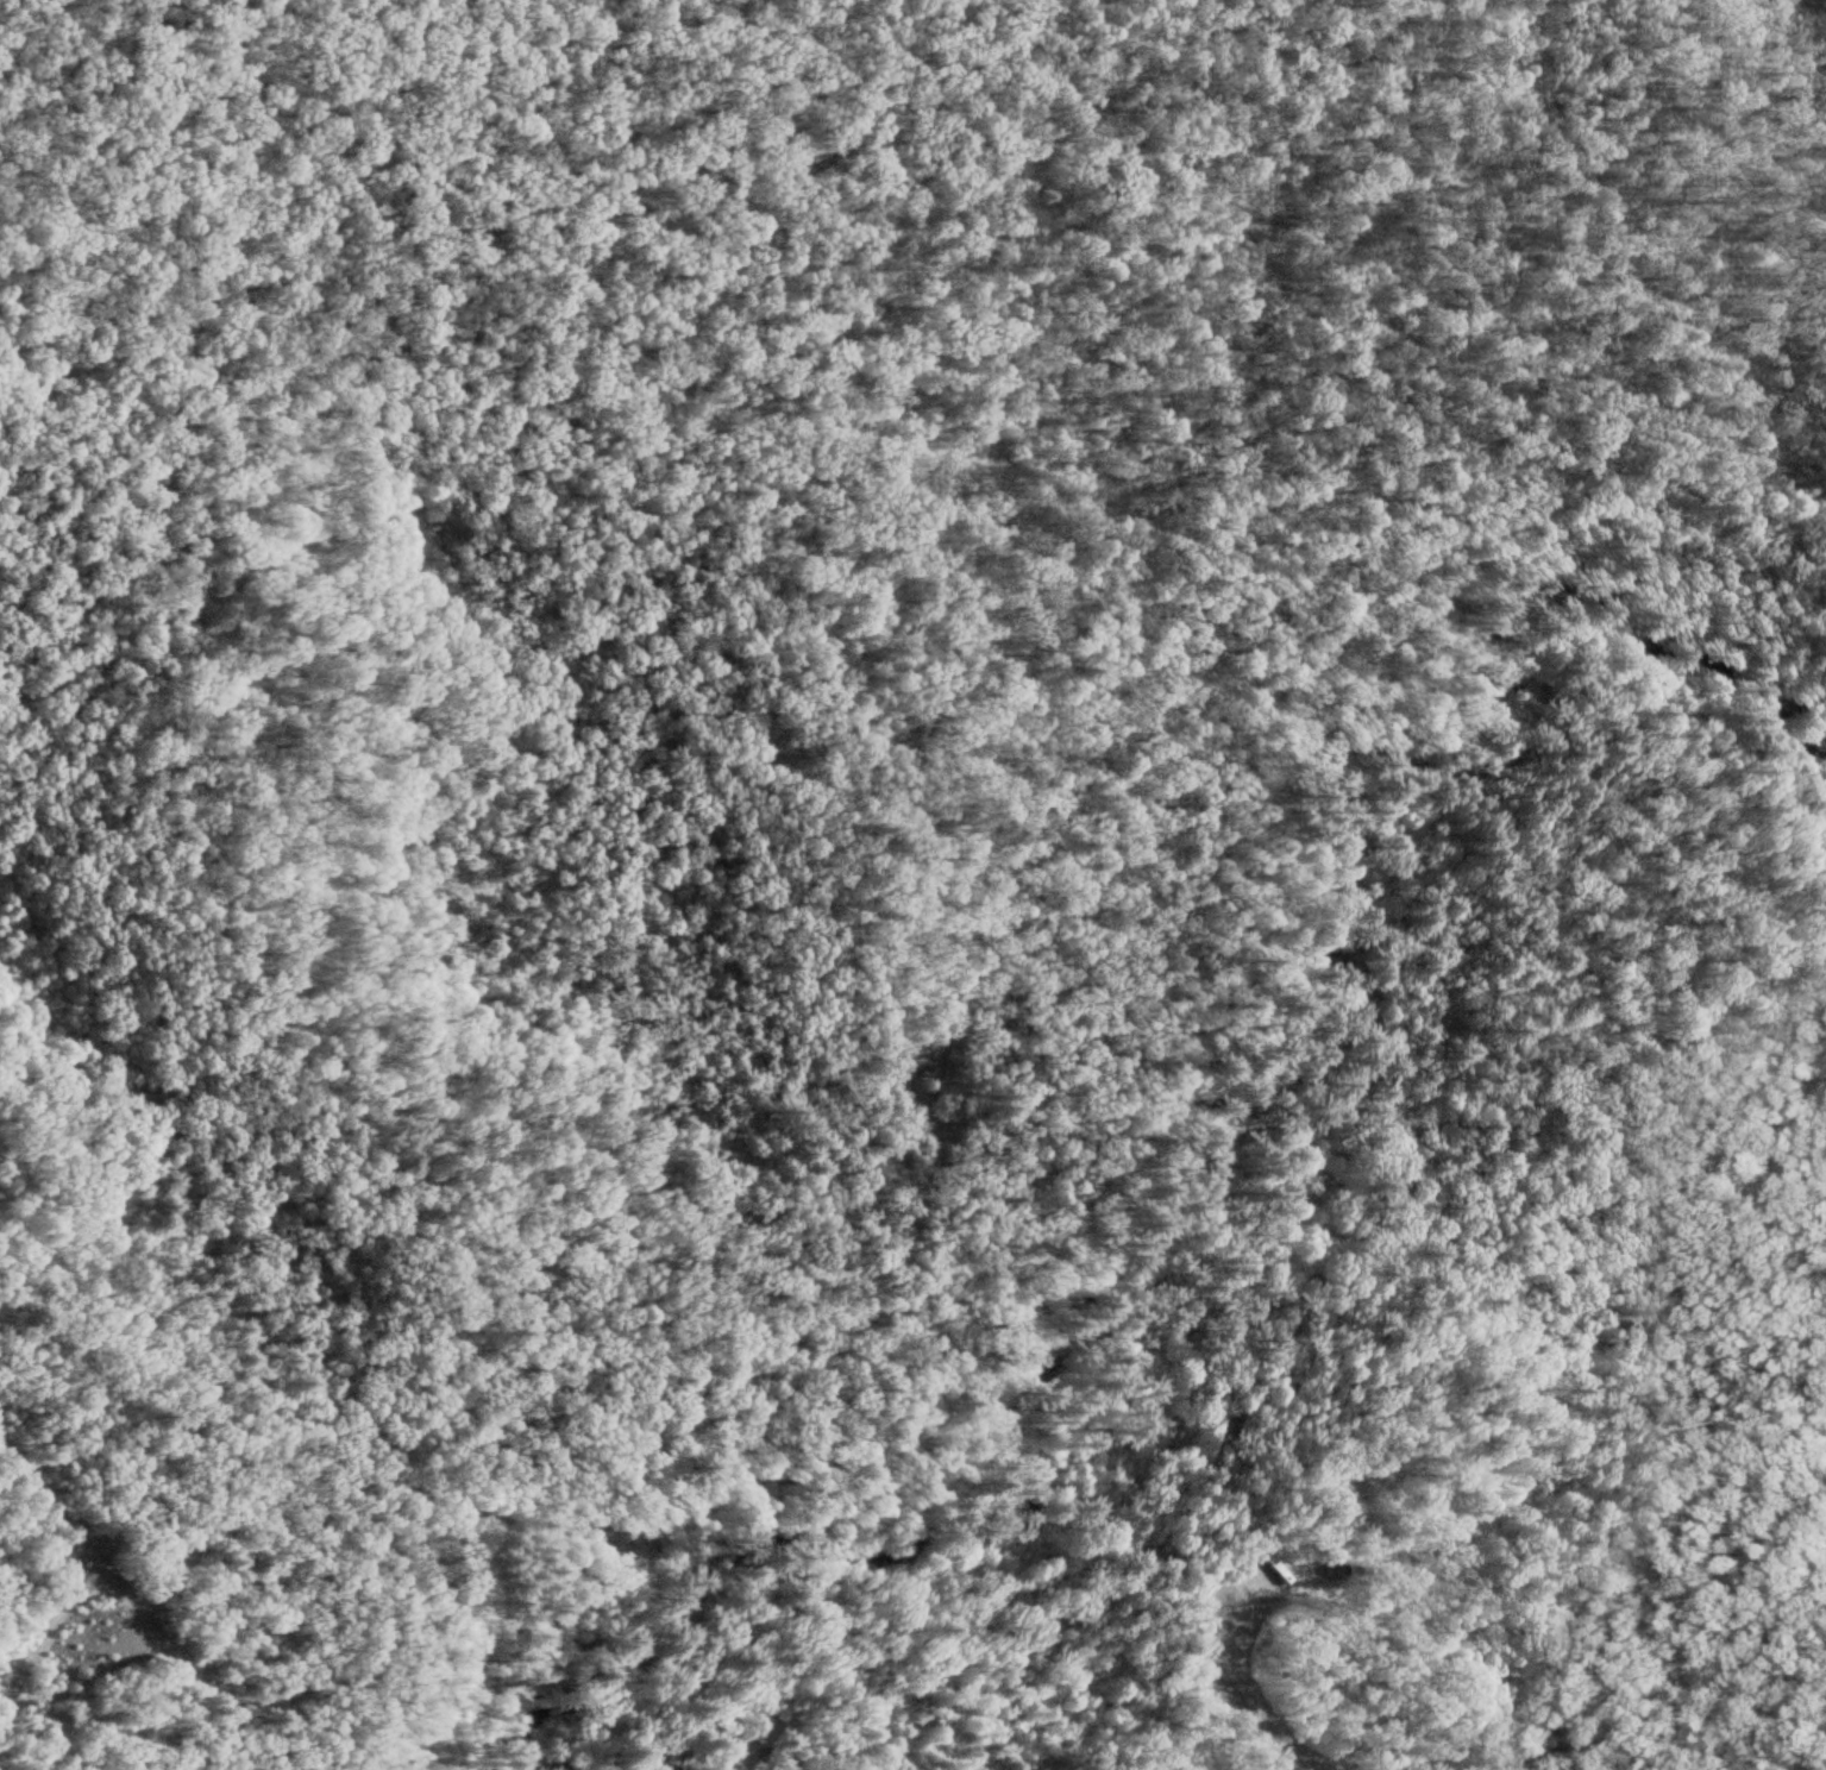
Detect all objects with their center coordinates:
road: (1150, 39)
road: (1008, 98)
road: (1757, 1669)
road: (1243, 1699)

